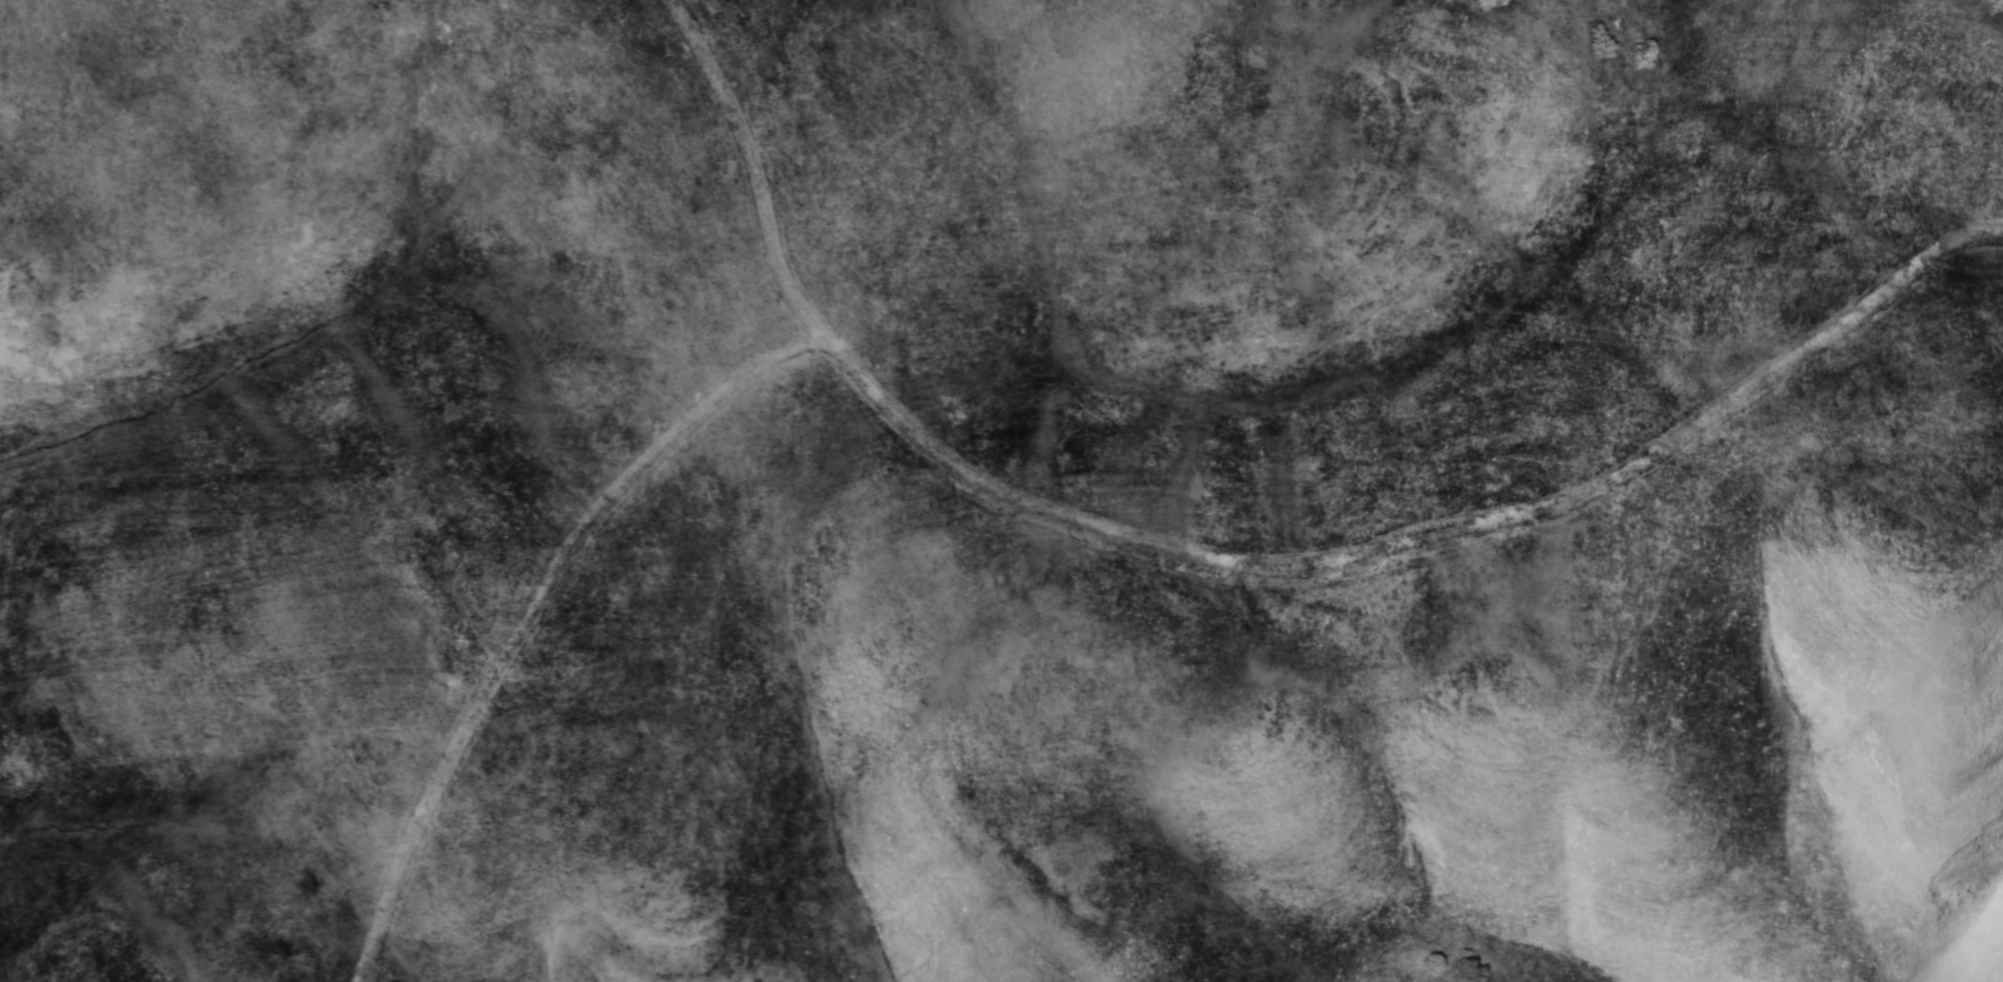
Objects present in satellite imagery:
road: (1207, 573)
road: (515, 605)

